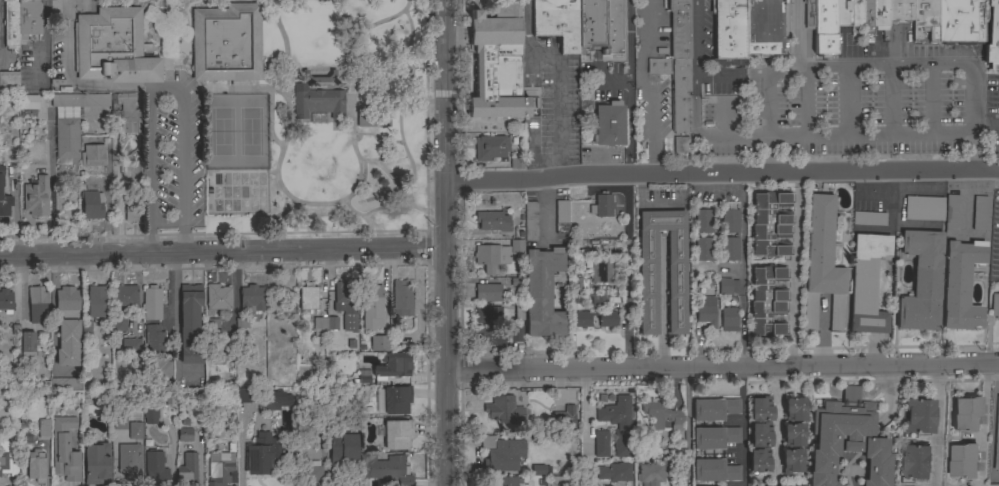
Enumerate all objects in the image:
road: (406, 5)
building: (899, 10)
building: (842, 12)
building: (856, 13)
building: (809, 14)
building: (880, 16)
building: (867, 17)
building: (28, 18)
building: (925, 19)
building: (961, 21)
building: (557, 22)
building: (11, 25)
road: (160, 27)
building: (763, 27)
building: (824, 27)
building: (679, 28)
building: (598, 31)
building: (728, 32)
road: (794, 33)
building: (992, 35)
road: (628, 38)
road: (166, 41)
building: (226, 43)
building: (113, 47)
road: (398, 54)
road: (350, 55)
road: (285, 63)
building: (496, 64)
road: (868, 65)
building: (658, 66)
road: (698, 67)
building: (318, 77)
building: (9, 82)
road: (550, 84)
road: (66, 85)
road: (642, 85)
road: (234, 89)
road: (166, 92)
building: (680, 95)
building: (80, 100)
building: (30, 101)
building: (318, 103)
building: (126, 114)
road: (987, 120)
building: (608, 124)
park: (325, 125)
road: (627, 125)
building: (489, 127)
park: (220, 132)
park: (248, 132)
road: (837, 132)
building: (66, 138)
road: (375, 141)
building: (680, 144)
building: (491, 147)
road: (404, 150)
building: (93, 156)
building: (516, 160)
road: (723, 173)
road: (51, 183)
building: (36, 194)
building: (4, 197)
road: (292, 201)
building: (91, 205)
building: (602, 205)
building: (924, 208)
road: (373, 211)
building: (133, 213)
building: (980, 213)
building: (951, 214)
road: (285, 217)
building: (561, 217)
building: (868, 219)
building: (530, 220)
building: (729, 220)
building: (493, 221)
building: (703, 221)
road: (367, 223)
building: (771, 224)
road: (447, 242)
building: (517, 248)
building: (729, 248)
building: (703, 249)
road: (223, 253)
building: (491, 256)
road: (741, 259)
building: (822, 264)
building: (604, 271)
road: (793, 271)
road: (627, 281)
building: (921, 282)
building: (866, 283)
building: (575, 284)
building: (648, 284)
building: (961, 284)
building: (728, 286)
building: (488, 292)
building: (543, 292)
building: (124, 295)
building: (217, 297)
building: (256, 297)
building: (308, 297)
building: (402, 298)
building: (599, 298)
building: (5, 300)
building: (97, 301)
building: (768, 301)
building: (67, 302)
building: (152, 303)
building: (36, 304)
building: (346, 304)
road: (662, 304)
building: (372, 306)
building: (995, 306)
building: (519, 309)
building: (706, 310)
building: (488, 314)
building: (608, 318)
building: (582, 319)
building: (728, 319)
building: (119, 321)
building: (241, 323)
building: (190, 324)
building: (324, 325)
building: (212, 327)
building: (516, 333)
road: (824, 333)
building: (490, 336)
building: (154, 340)
building: (68, 343)
building: (378, 343)
building: (27, 344)
building: (131, 349)
building: (218, 360)
building: (394, 365)
building: (156, 368)
road: (723, 369)
building: (364, 376)
building: (62, 384)
building: (246, 394)
building: (145, 399)
building: (396, 399)
building: (268, 402)
building: (158, 405)
building: (504, 409)
building: (714, 409)
building: (760, 409)
building: (967, 414)
building: (148, 415)
building: (661, 415)
building: (919, 416)
building: (564, 417)
building: (119, 423)
road: (986, 424)
building: (619, 425)
road: (936, 425)
road: (742, 427)
building: (44, 428)
road: (585, 428)
road: (686, 428)
building: (135, 430)
building: (185, 434)
building: (397, 434)
building: (760, 434)
building: (792, 435)
building: (714, 437)
building: (847, 439)
building: (997, 441)
building: (601, 443)
building: (64, 450)
building: (343, 452)
building: (502, 453)
building: (264, 454)
building: (6, 458)
building: (759, 460)
building: (964, 461)
building: (129, 462)
building: (916, 463)
building: (96, 464)
building: (36, 466)
building: (220, 469)
building: (540, 469)
building: (154, 470)
building: (385, 470)
building: (714, 470)
building: (187, 471)
building: (656, 472)
building: (310, 473)
building: (615, 473)
building: (509, 481)
building: (556, 481)
building: (993, 485)

